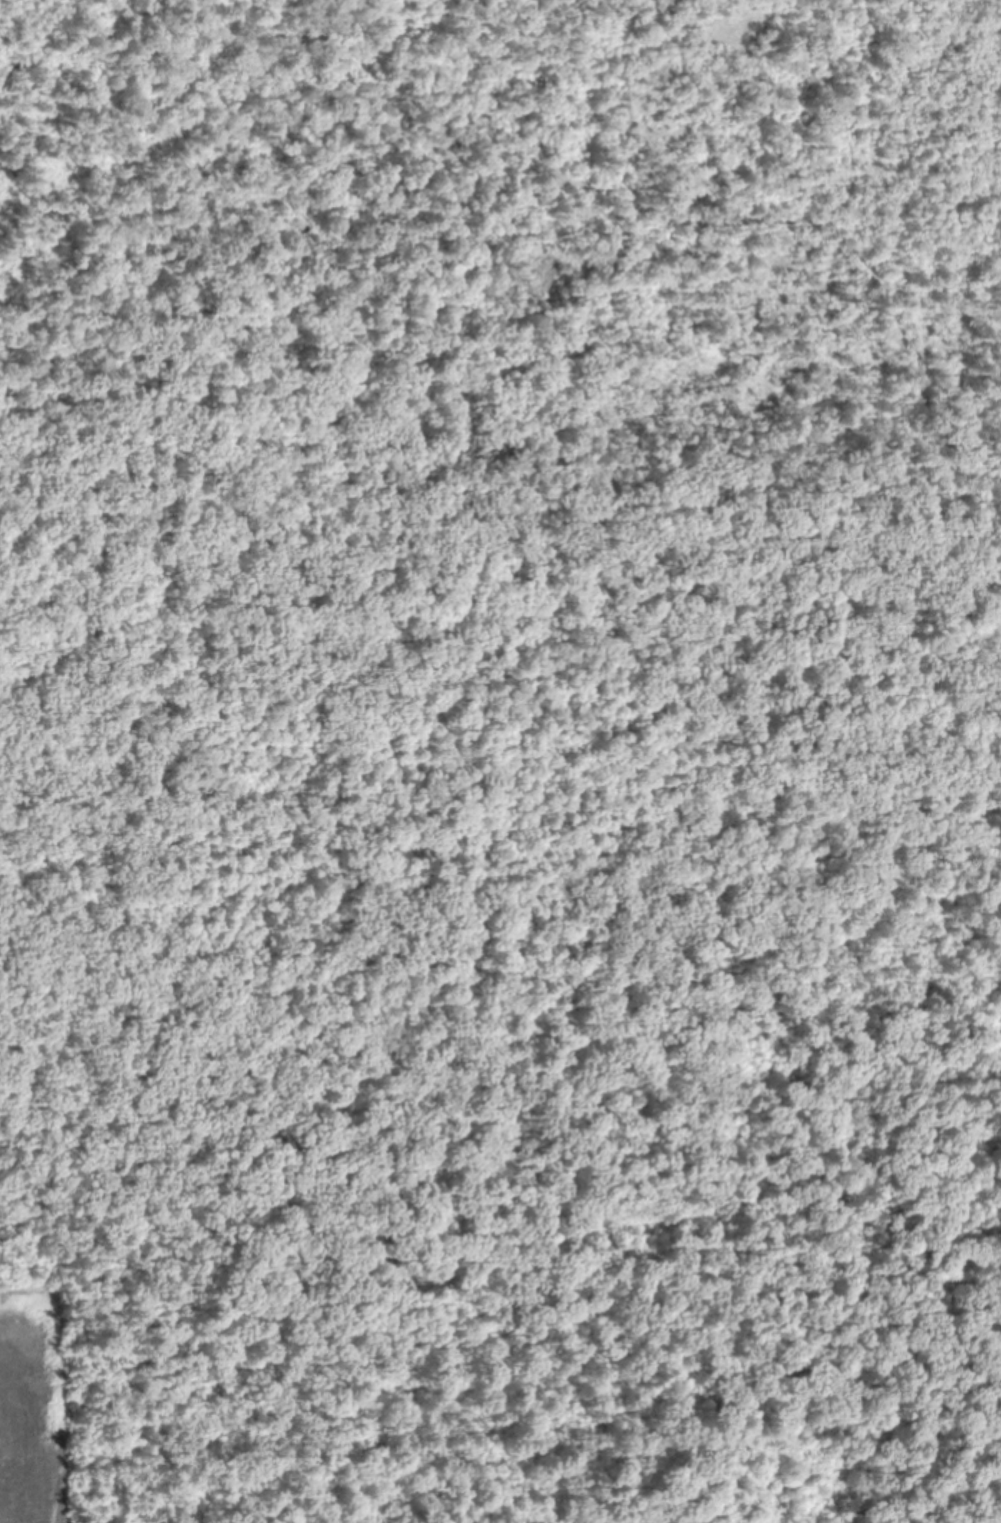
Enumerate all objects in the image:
road: (528, 443)
park: (509, 749)

